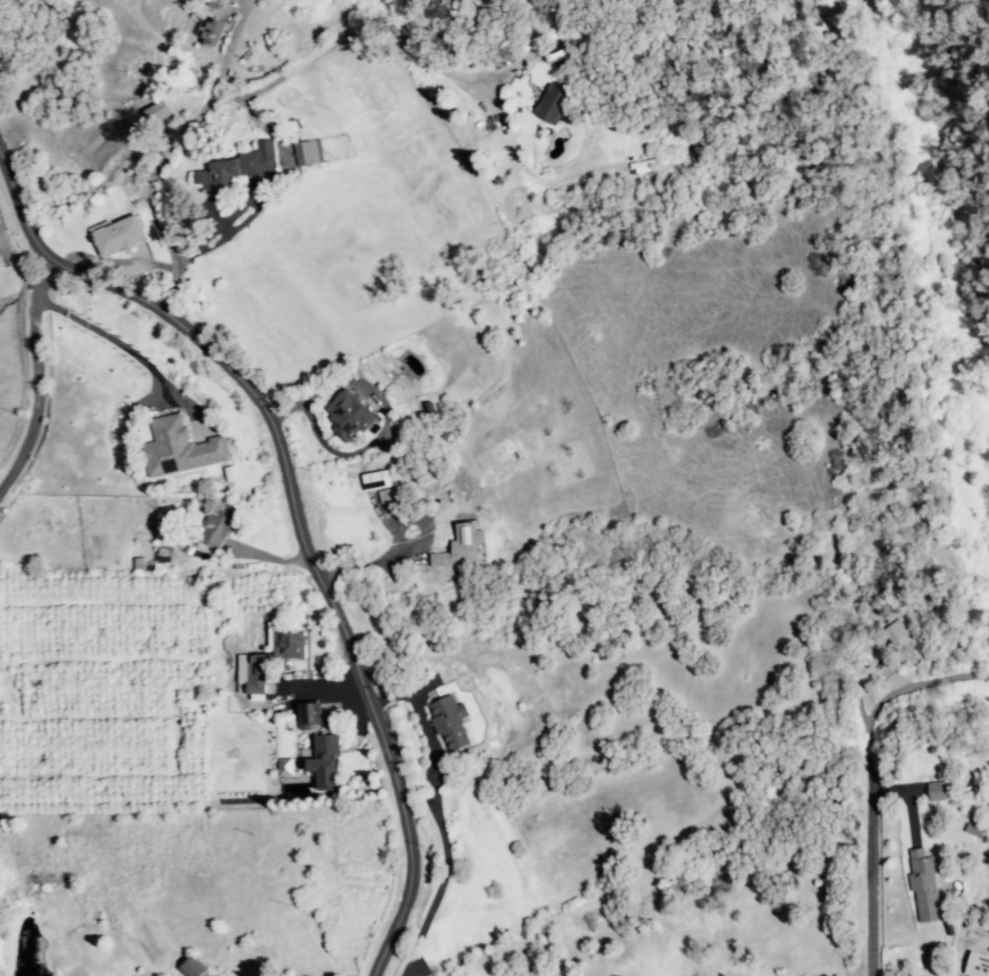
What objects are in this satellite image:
building: (208, 32)
road: (226, 46)
road: (236, 100)
building: (551, 104)
building: (157, 114)
road: (282, 151)
building: (308, 152)
building: (238, 168)
road: (216, 217)
road: (224, 219)
road: (231, 230)
building: (118, 236)
road: (184, 260)
road: (15, 263)
road: (103, 334)
road: (33, 378)
building: (347, 414)
road: (371, 440)
building: (178, 448)
building: (375, 480)
road: (294, 518)
building: (216, 526)
building: (461, 547)
road: (368, 565)
building: (895, 632)
building: (269, 659)
road: (910, 686)
building: (309, 715)
building: (449, 721)
building: (324, 761)
building: (284, 767)
building: (937, 791)
road: (439, 816)
road: (868, 857)
building: (923, 885)
building: (976, 965)
building: (192, 967)

